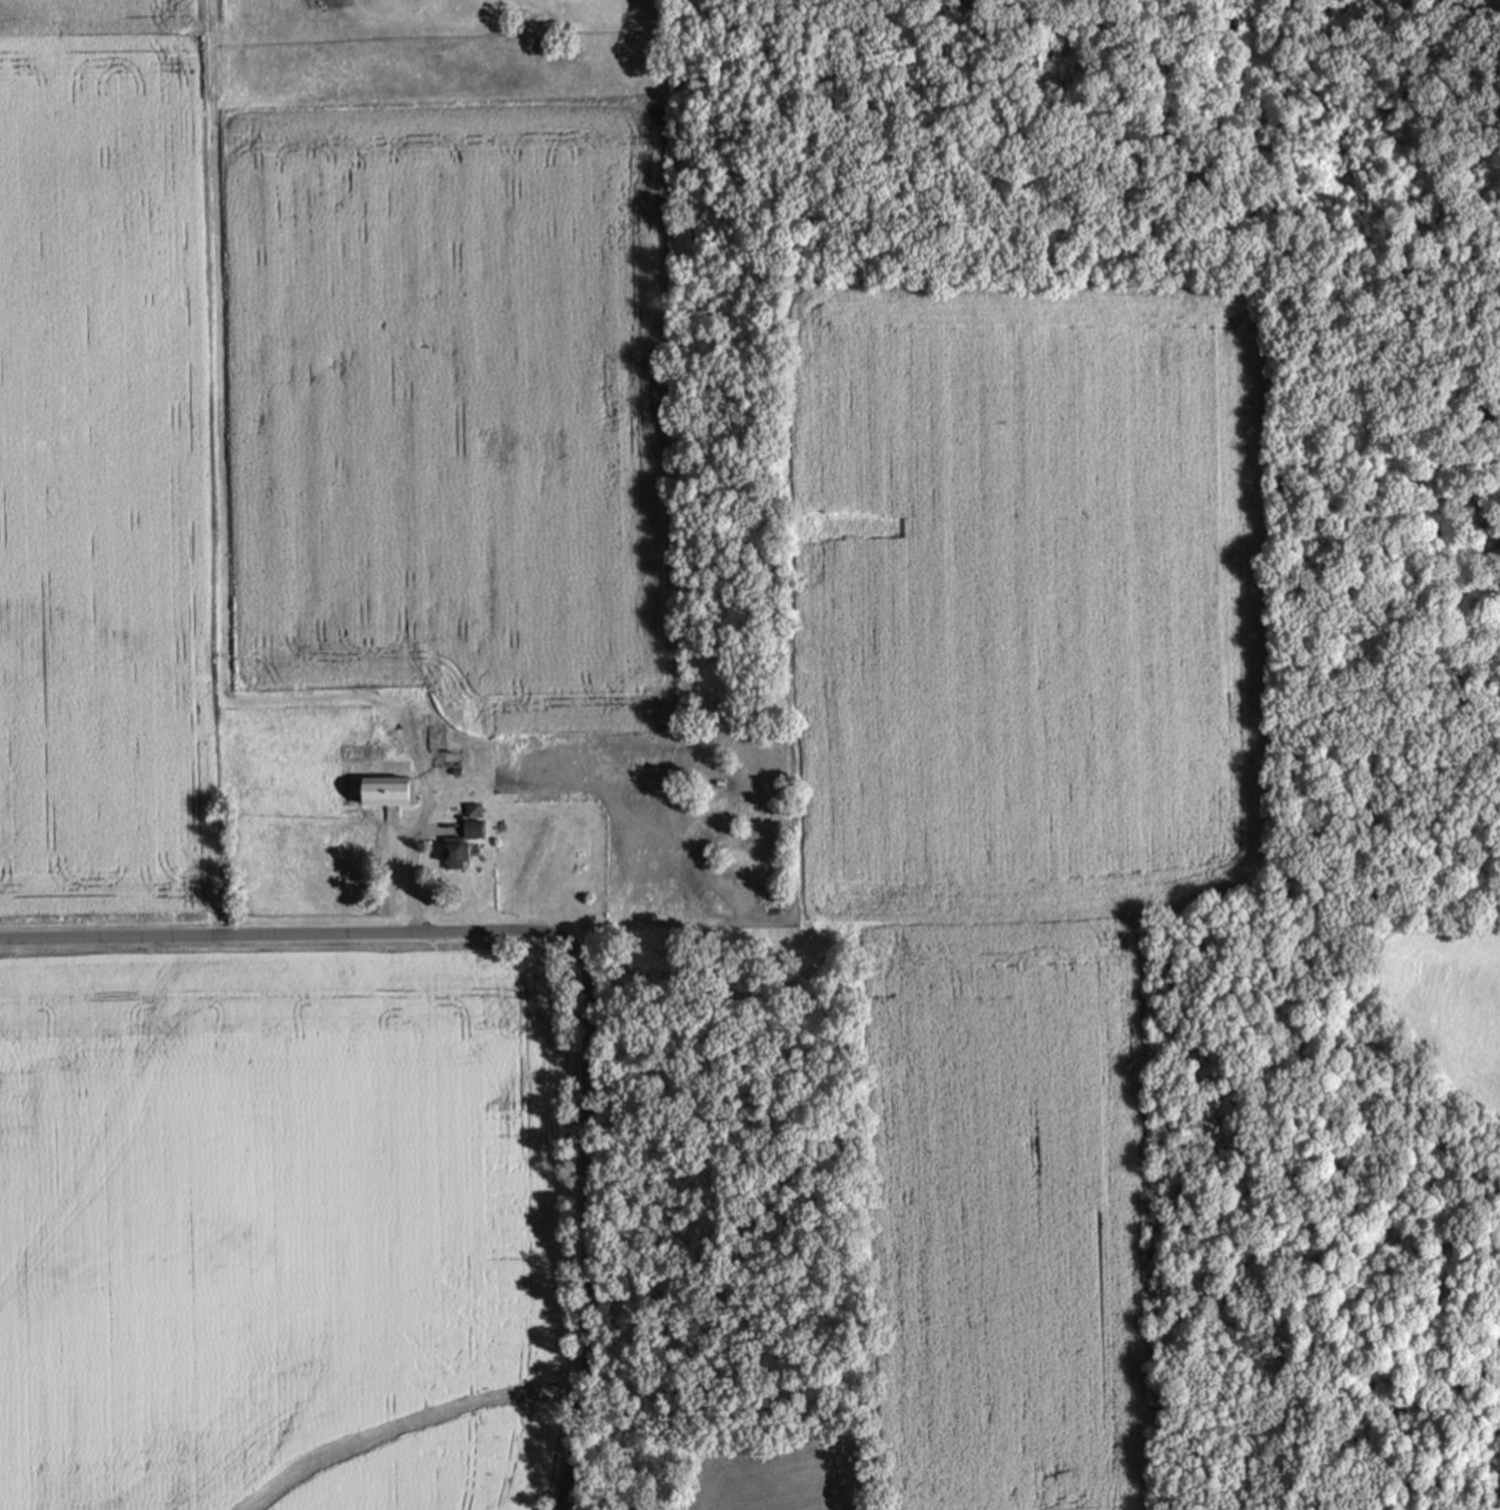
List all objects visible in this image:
road: (1464, 5)
road: (214, 458)
building: (452, 761)
building: (385, 792)
building: (470, 811)
building: (471, 829)
road: (414, 843)
building: (448, 853)
road: (569, 943)
road: (731, 991)

